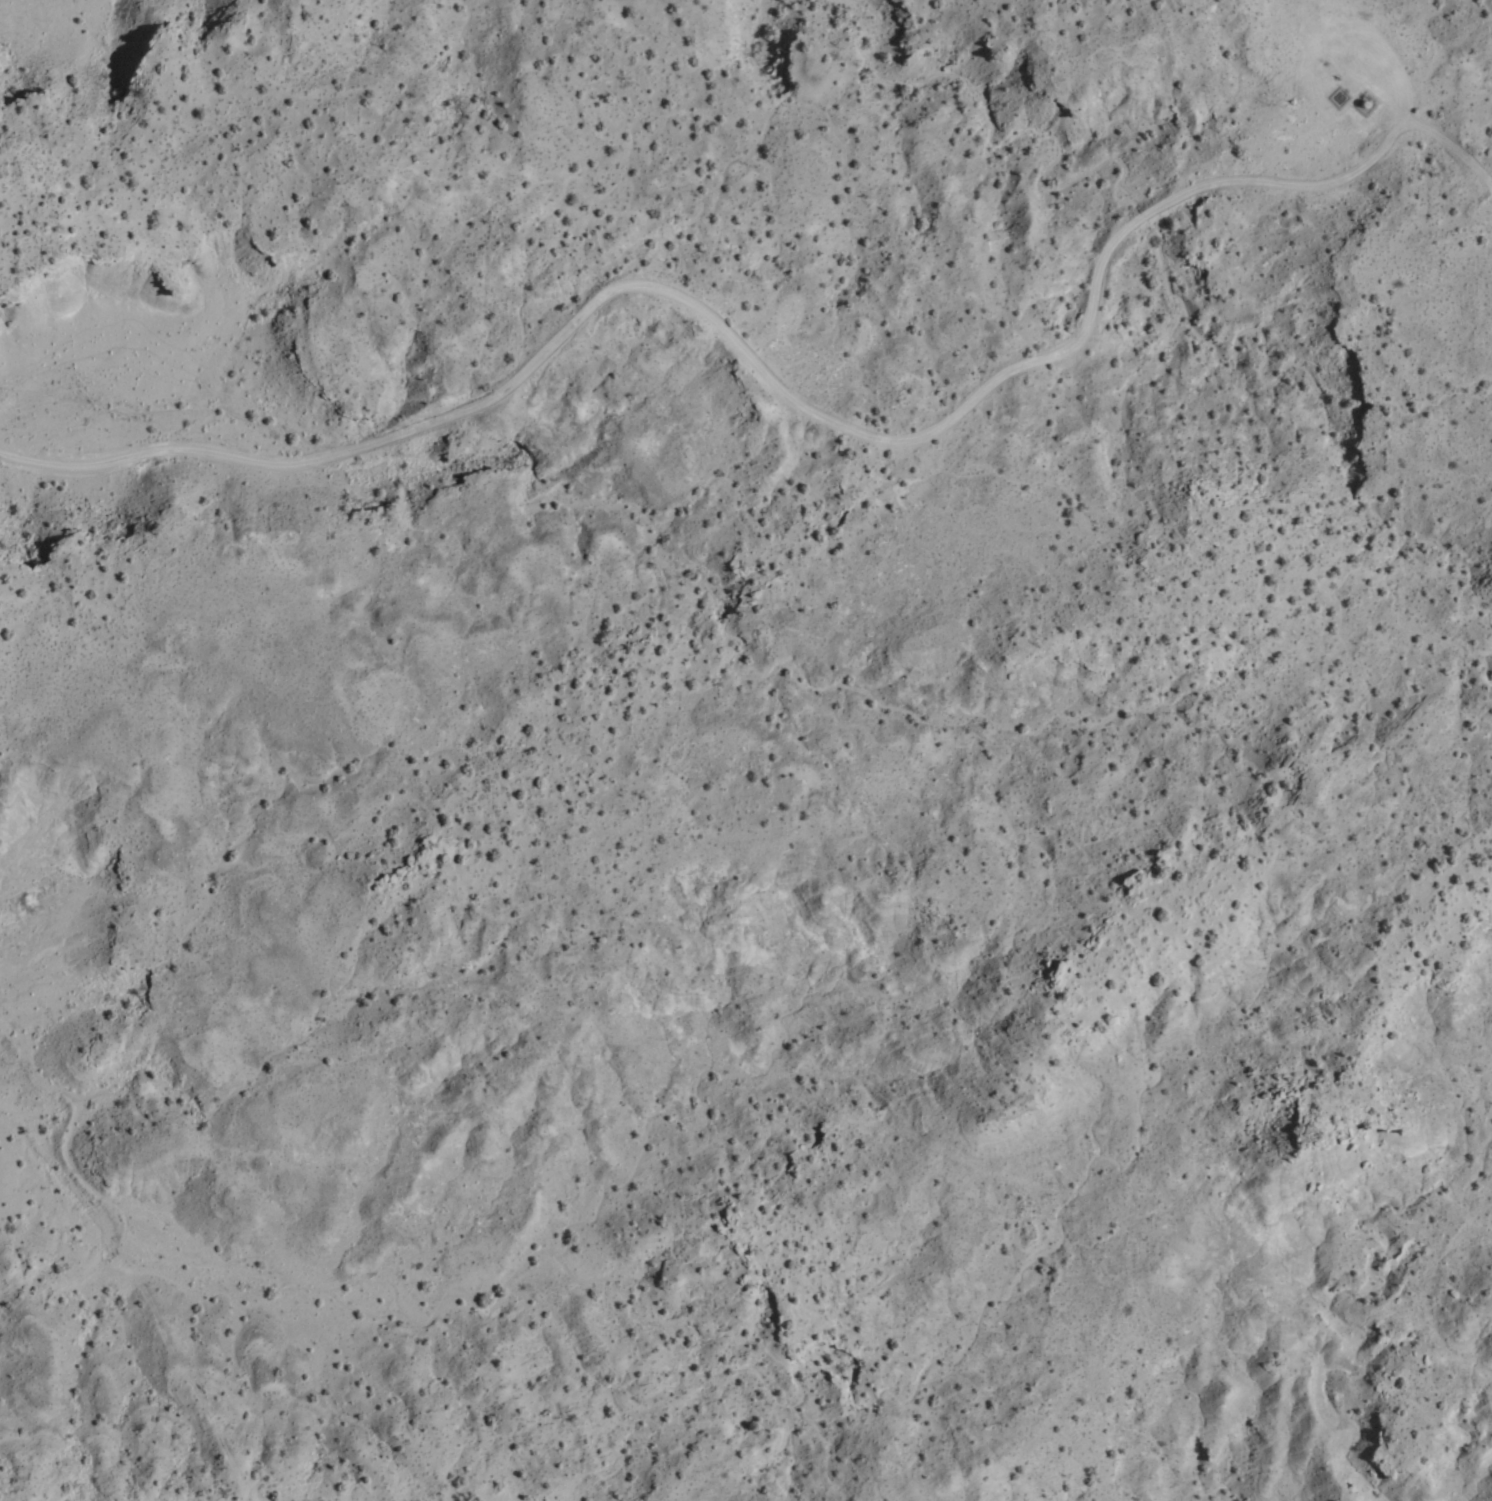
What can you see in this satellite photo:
road: (1347, 42)
road: (787, 389)

